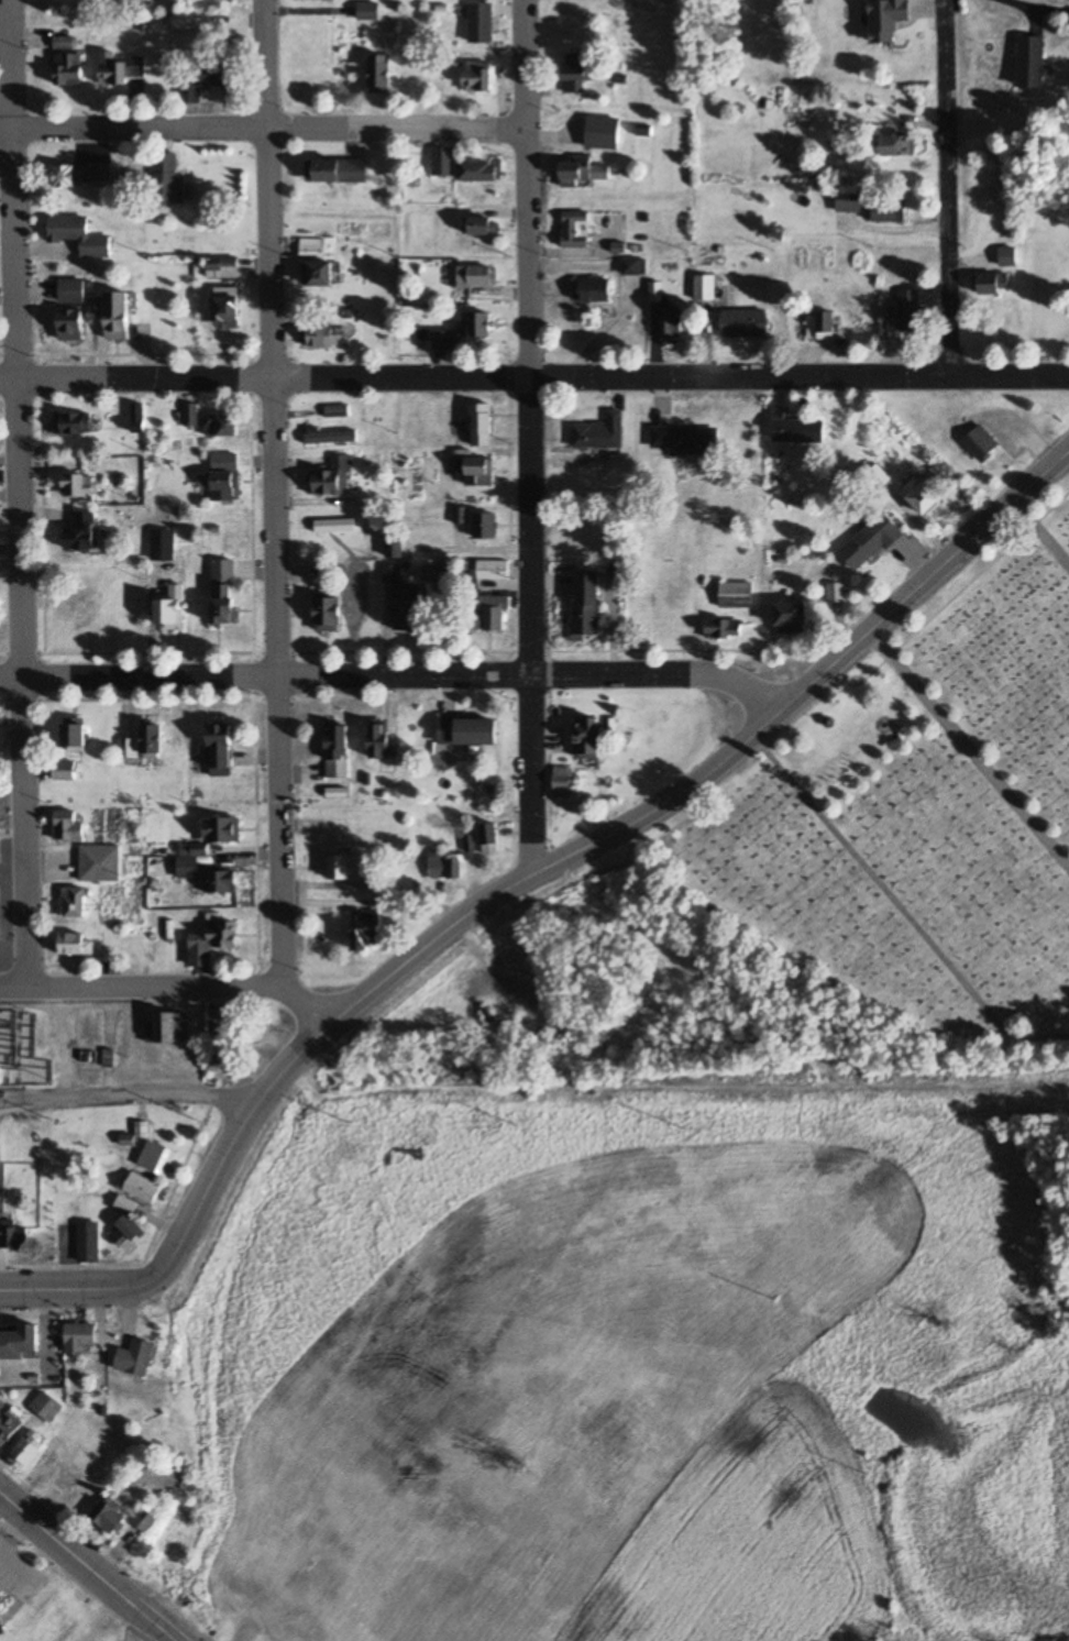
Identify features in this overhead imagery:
building: (370, 11)
building: (888, 19)
building: (185, 20)
building: (481, 22)
building: (64, 42)
building: (1033, 60)
building: (69, 68)
building: (121, 68)
building: (576, 73)
building: (382, 74)
building: (478, 76)
building: (203, 82)
road: (264, 129)
building: (896, 143)
building: (462, 167)
building: (338, 169)
building: (577, 170)
building: (102, 173)
building: (71, 175)
building: (169, 179)
road: (948, 188)
building: (849, 199)
building: (890, 208)
building: (480, 224)
building: (576, 229)
road: (897, 229)
building: (79, 234)
building: (312, 246)
building: (635, 265)
building: (318, 272)
building: (476, 275)
building: (992, 283)
building: (705, 287)
building: (592, 288)
building: (70, 290)
building: (228, 306)
building: (906, 311)
building: (115, 313)
building: (476, 323)
building: (671, 323)
building: (746, 323)
building: (70, 324)
building: (820, 326)
building: (320, 335)
building: (442, 340)
road: (534, 374)
building: (337, 410)
building: (190, 414)
building: (137, 418)
building: (74, 423)
building: (221, 425)
building: (482, 425)
building: (798, 429)
building: (600, 432)
building: (330, 436)
road: (531, 440)
building: (685, 440)
building: (982, 443)
building: (475, 469)
building: (332, 477)
building: (77, 484)
building: (224, 485)
road: (21, 496)
building: (923, 496)
building: (486, 525)
building: (81, 531)
road: (1042, 535)
road: (272, 538)
building: (871, 542)
building: (162, 544)
building: (493, 570)
building: (736, 595)
building: (836, 596)
road: (955, 596)
building: (401, 598)
building: (587, 603)
building: (224, 605)
building: (170, 609)
building: (84, 612)
building: (489, 613)
building: (328, 614)
building: (792, 617)
building: (724, 628)
road: (403, 650)
road: (680, 650)
road: (153, 653)
road: (410, 675)
road: (350, 700)
road: (2, 702)
road: (253, 729)
building: (469, 731)
building: (74, 738)
building: (589, 738)
building: (381, 740)
building: (146, 744)
building: (220, 750)
road: (969, 750)
building: (338, 751)
building: (64, 771)
park: (923, 807)
building: (67, 826)
building: (222, 830)
building: (491, 838)
building: (99, 863)
building: (444, 864)
building: (344, 867)
building: (187, 868)
building: (222, 882)
road: (519, 886)
building: (74, 903)
road: (901, 908)
building: (366, 930)
building: (211, 943)
building: (73, 945)
road: (141, 992)
road: (319, 996)
building: (219, 1026)
building: (167, 1028)
building: (0, 1073)
road: (125, 1094)
building: (140, 1130)
building: (158, 1158)
building: (141, 1186)
building: (126, 1204)
building: (128, 1231)
building: (12, 1234)
building: (89, 1242)
building: (80, 1337)
building: (19, 1344)
building: (137, 1358)
building: (46, 1407)
building: (10, 1427)
building: (26, 1451)
building: (68, 1480)
building: (109, 1518)
building: (145, 1520)
road: (5, 1551)
road: (80, 1560)
building: (2, 1625)
road: (169, 1634)

